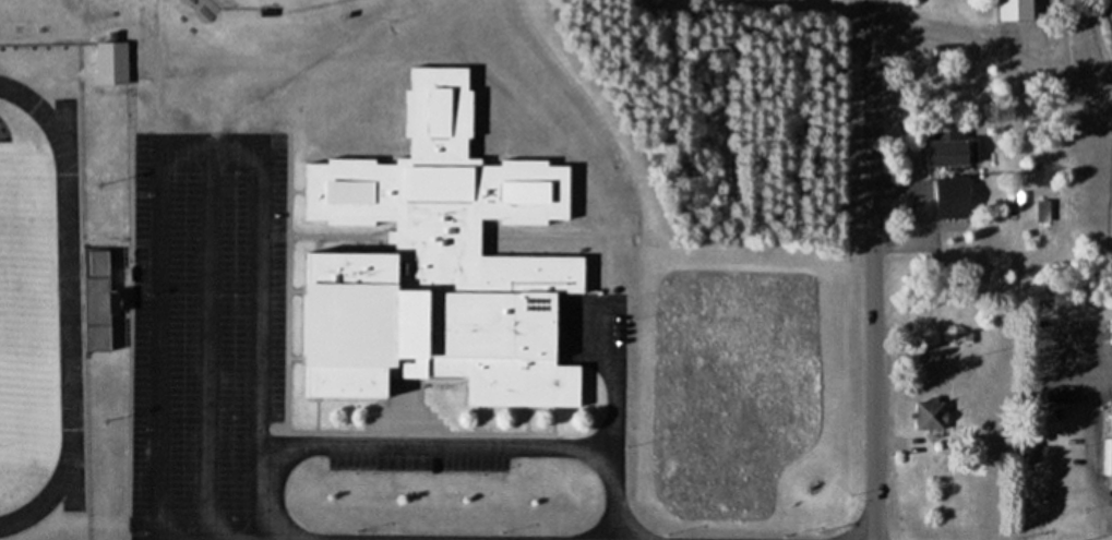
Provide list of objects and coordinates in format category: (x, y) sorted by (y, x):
building: (1015, 11)
road: (994, 51)
building: (103, 57)
road: (250, 145)
building: (947, 146)
building: (952, 197)
building: (429, 259)
road: (873, 269)
building: (96, 299)
stadium: (43, 310)
building: (1111, 332)
parking lot: (199, 333)
road: (195, 334)
building: (929, 416)
road: (494, 441)
building: (1109, 447)
road: (606, 490)
street lamp: (345, 524)
street lamp: (491, 525)
street lamp: (656, 526)
street lamp: (774, 526)
road: (346, 536)

